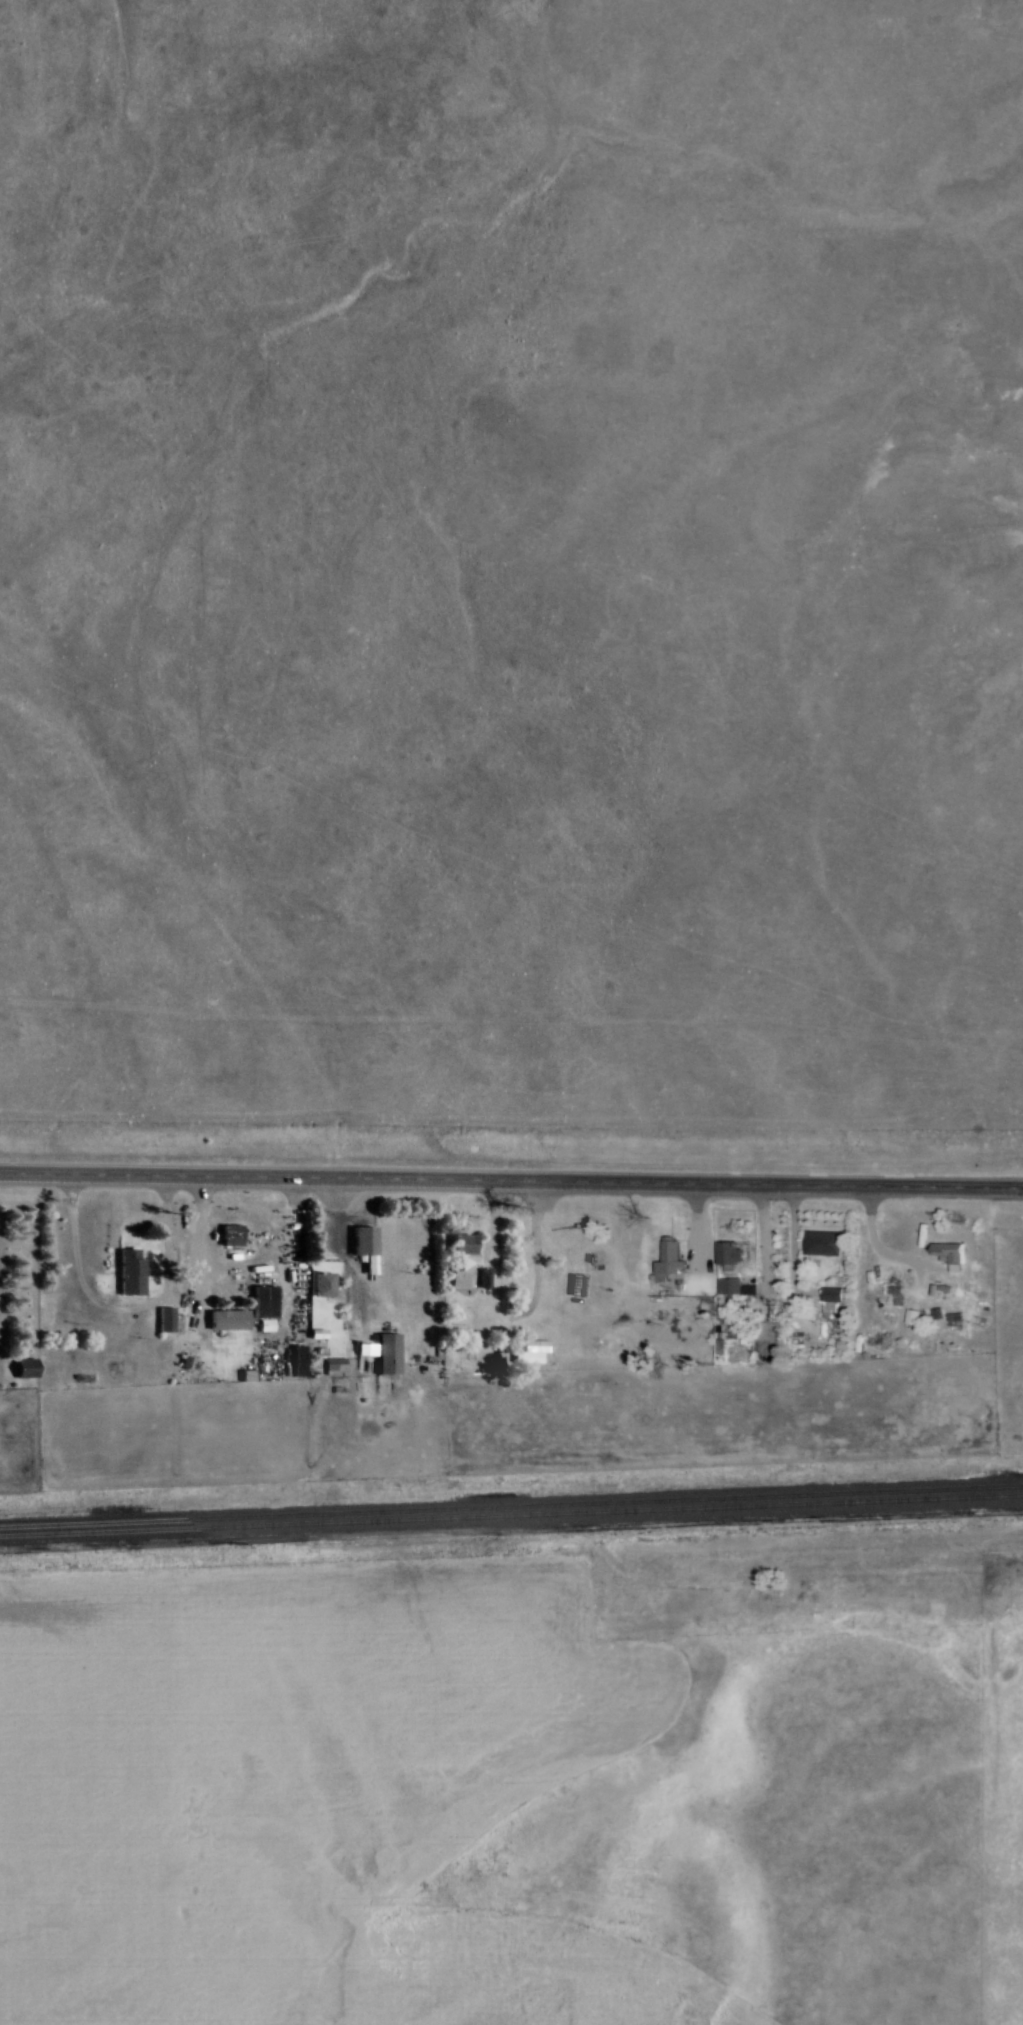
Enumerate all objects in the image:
road: (511, 1178)
building: (234, 1233)
building: (365, 1242)
building: (464, 1243)
building: (827, 1244)
road: (881, 1248)
building: (951, 1250)
building: (730, 1253)
road: (344, 1255)
road: (538, 1255)
building: (598, 1255)
building: (672, 1261)
building: (133, 1272)
building: (471, 1279)
building: (731, 1284)
building: (325, 1285)
building: (833, 1292)
road: (782, 1296)
building: (893, 1296)
building: (260, 1310)
building: (914, 1314)
building: (168, 1318)
building: (236, 1318)
building: (322, 1332)
building: (384, 1351)
building: (338, 1363)
building: (26, 1366)
railway: (511, 1506)
railway: (511, 1514)
crop: (300, 1792)

